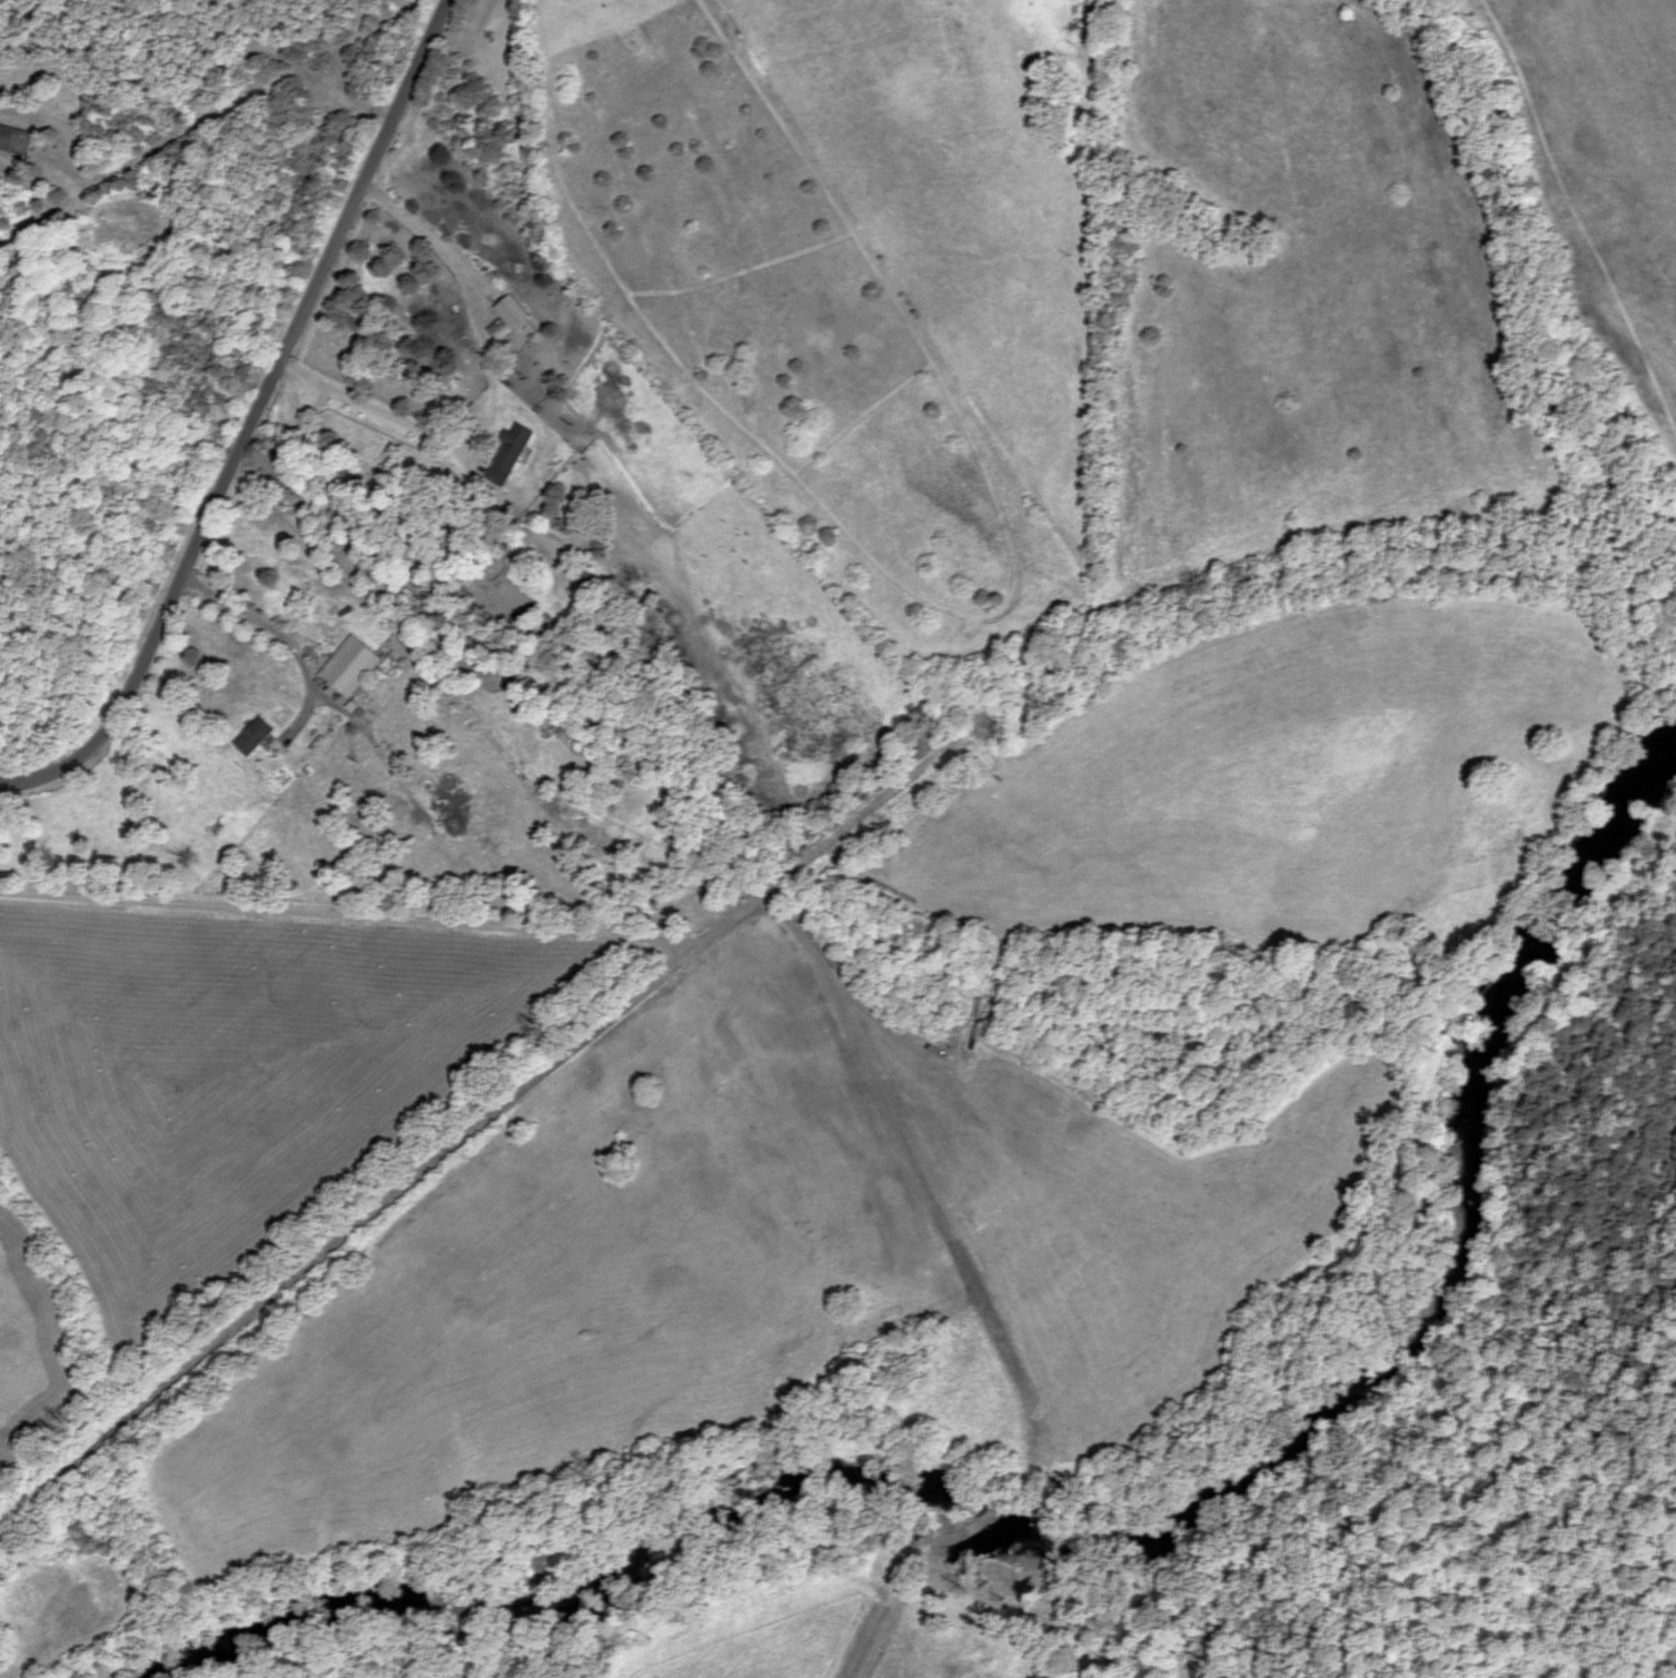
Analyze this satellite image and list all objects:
building: (17, 140)
building: (515, 312)
road: (245, 374)
building: (512, 455)
building: (355, 669)
building: (255, 737)
river: (1109, 1551)

